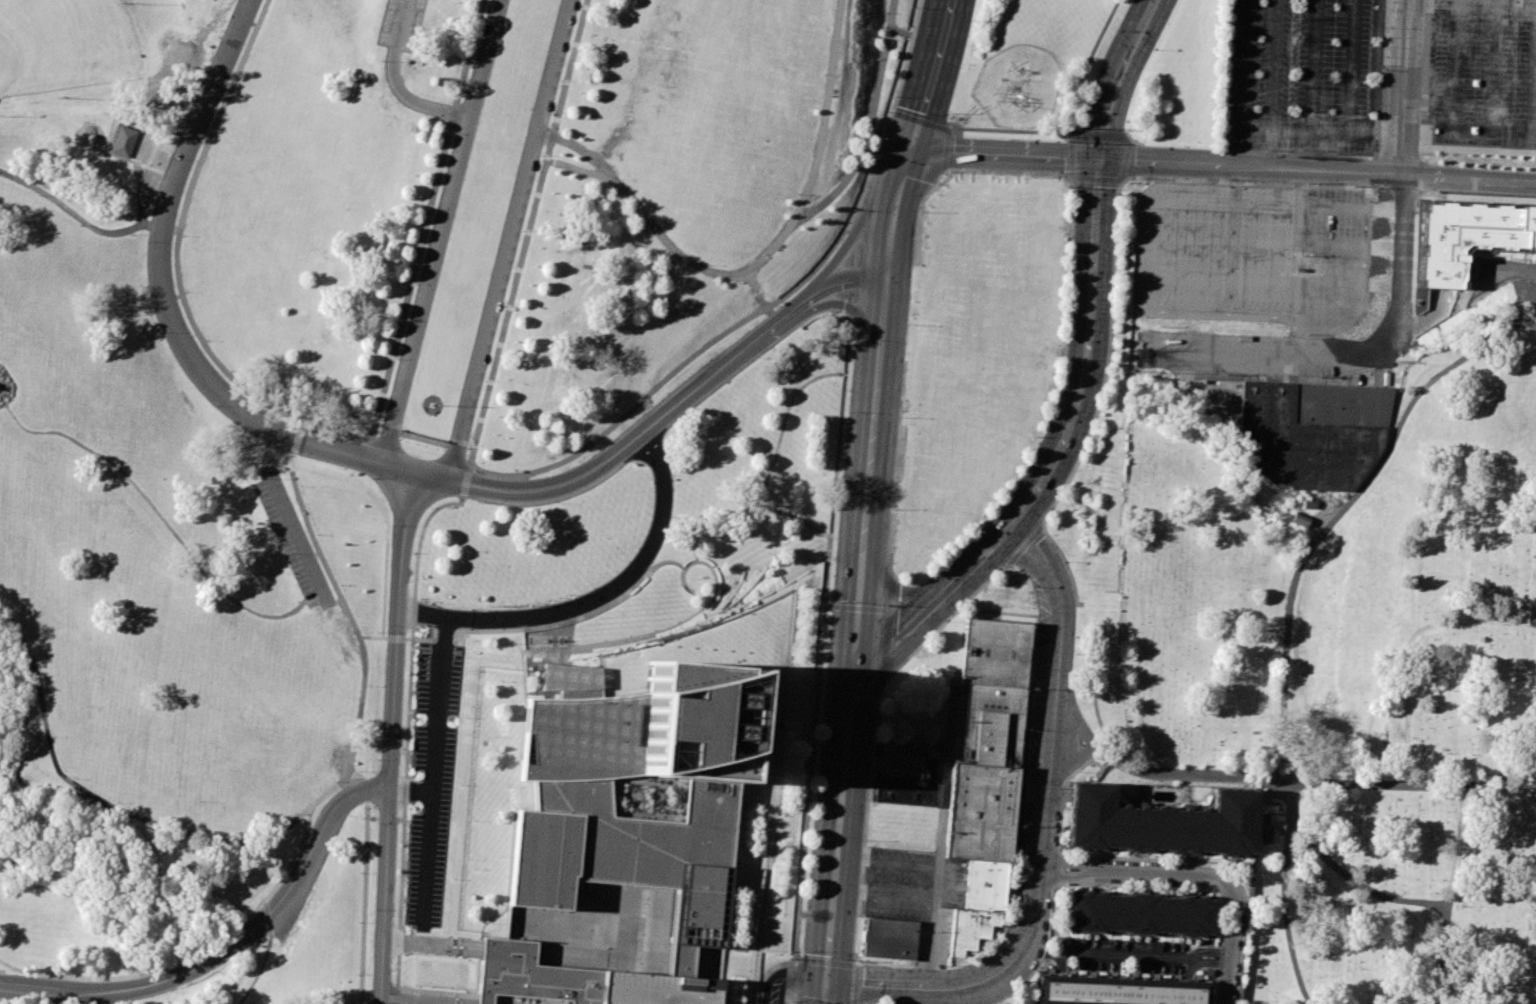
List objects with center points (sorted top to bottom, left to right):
street lamp: (579, 5)
street lamp: (913, 9)
street lamp: (972, 22)
parking lot: (401, 24)
street lamp: (1113, 31)
road: (902, 32)
park: (63, 45)
street lamp: (1152, 51)
street lamp: (472, 58)
street lamp: (822, 73)
road: (926, 75)
parking lot: (1300, 75)
street lamp: (201, 77)
road: (1115, 77)
parking lot: (1484, 80)
street lamp: (560, 81)
road: (395, 85)
street lamp: (889, 98)
street lamp: (1083, 113)
road: (219, 114)
street lamp: (950, 118)
road: (918, 122)
road: (1069, 122)
street lamp: (1124, 123)
road: (868, 124)
street lamp: (453, 134)
road: (1069, 136)
road: (1128, 136)
street lamp: (1134, 138)
street lamp: (1007, 139)
building: (124, 141)
road: (1136, 142)
road: (1474, 149)
traffic signals: (904, 150)
road: (944, 151)
street lamp: (541, 155)
street lamp: (873, 155)
road: (1000, 155)
road: (1324, 156)
traffic signals: (1098, 158)
road: (1397, 158)
street lamp: (166, 159)
road: (1124, 160)
road: (1316, 170)
road: (581, 171)
road: (1004, 172)
street lamp: (1056, 173)
road: (1375, 173)
street lamp: (945, 174)
road: (1419, 174)
road: (1075, 178)
street lamp: (621, 179)
street lamp: (1226, 180)
road: (1248, 183)
road: (1072, 184)
street lamp: (1308, 184)
street lamp: (1375, 188)
road: (1397, 189)
street lamp: (797, 193)
road: (1476, 193)
street lamp: (37, 195)
street lamp: (1116, 195)
street lamp: (1073, 197)
street lamp: (851, 207)
street lamp: (434, 208)
park: (520, 209)
street lamp: (918, 211)
road: (918, 213)
road: (427, 218)
street lamp: (79, 225)
road: (531, 227)
street lamp: (522, 230)
road: (444, 232)
street lamp: (131, 234)
road: (850, 234)
street lamp: (183, 235)
building: (1466, 238)
road: (507, 239)
road: (165, 241)
street lamp: (145, 243)
parking lot: (1251, 254)
road: (851, 256)
street lamp: (708, 264)
road: (759, 265)
street lamp: (1069, 270)
street lamp: (1113, 273)
road: (849, 277)
road: (751, 280)
road: (1391, 282)
street lamp: (415, 283)
street lamp: (186, 292)
road: (848, 297)
road: (1090, 299)
street lamp: (502, 306)
road: (763, 308)
road: (769, 312)
street lamp: (825, 312)
road: (847, 318)
street lamp: (907, 326)
street lamp: (159, 333)
street lamp: (207, 339)
street lamp: (851, 339)
road: (878, 344)
street lamp: (1065, 346)
street lamp: (1109, 351)
street lamp: (396, 357)
street lamp: (757, 359)
road: (1107, 359)
street lamp: (232, 371)
street lamp: (484, 381)
road: (16, 387)
flagpole: (433, 405)
street lamp: (210, 408)
street lamp: (287, 408)
road: (676, 408)
street lamp: (693, 411)
street lamp: (845, 412)
street lamp: (899, 417)
street lamp: (1047, 420)
street lamp: (380, 423)
road: (338, 427)
road: (782, 428)
building: (1311, 431)
street lamp: (1091, 439)
street lamp: (468, 444)
road: (341, 450)
street lamp: (283, 457)
street lamp: (629, 463)
street lamp: (644, 466)
road: (401, 468)
road: (894, 468)
road: (432, 475)
street lamp: (368, 479)
street lamp: (1018, 481)
road: (469, 482)
street lamp: (300, 485)
road: (1042, 485)
railway: (882, 497)
railway: (847, 498)
street lamp: (477, 503)
street lamp: (557, 504)
street lamp: (837, 506)
street lamp: (1051, 508)
road: (749, 510)
street lamp: (891, 510)
road: (287, 513)
road: (160, 516)
street lamp: (389, 527)
street lamp: (973, 527)
street lamp: (317, 534)
road: (421, 535)
parking lot: (296, 543)
road: (1025, 544)
street lamp: (283, 555)
road: (988, 557)
street lamp: (1063, 560)
road: (891, 576)
street lamp: (929, 576)
street lamp: (996, 576)
park: (163, 584)
street lamp: (340, 585)
road: (889, 586)
street lamp: (1030, 586)
street lamp: (592, 588)
road: (897, 592)
flagpole: (569, 594)
flagpole: (559, 597)
flagpole: (548, 600)
street lamp: (831, 601)
flagpole: (537, 602)
flagpole: (526, 603)
flagpole: (515, 604)
road: (887, 604)
street lamp: (1, 605)
flagpole: (491, 605)
flagpole: (504, 605)
road: (852, 608)
road: (1287, 608)
street lamp: (472, 609)
road: (886, 613)
road: (857, 615)
road: (423, 616)
road: (515, 618)
road: (354, 621)
street lamp: (385, 628)
road: (513, 629)
road: (661, 630)
street lamp: (936, 631)
street lamp: (362, 633)
street lamp: (375, 634)
road: (571, 634)
road: (375, 637)
road: (555, 637)
road: (906, 637)
road: (398, 638)
road: (421, 639)
street lamp: (1074, 639)
road: (442, 640)
road: (1057, 640)
road: (456, 641)
street lamp: (26, 642)
road: (1410, 645)
road: (883, 647)
building: (991, 652)
road: (818, 662)
park: (1357, 672)
street lamp: (892, 674)
road: (881, 681)
road: (881, 684)
street lamp: (368, 685)
street lamp: (44, 689)
traffic signals: (852, 692)
street lamp: (82, 710)
street lamp: (467, 717)
street lamp: (361, 725)
street lamp: (380, 725)
street lamp: (818, 726)
street lamp: (1026, 731)
street lamp: (871, 735)
road: (392, 737)
street lamp: (51, 738)
street lamp: (412, 751)
road: (1069, 762)
street lamp: (1080, 771)
building: (985, 775)
road: (1242, 775)
road: (1500, 775)
parking lot: (432, 779)
street lamp: (74, 780)
street lamp: (332, 781)
street lamp: (461, 784)
road: (661, 786)
building: (910, 787)
road: (365, 789)
street lamp: (196, 802)
street lamp: (116, 804)
street lamp: (408, 806)
street lamp: (294, 814)
street lamp: (348, 818)
building: (1160, 822)
street lamp: (376, 824)
street lamp: (178, 825)
street lamp: (408, 825)
building: (1271, 827)
street lamp: (1019, 828)
street lamp: (809, 835)
street lamp: (242, 836)
street lamp: (863, 838)
road: (941, 840)
building: (623, 841)
road: (837, 847)
road: (429, 853)
road: (293, 855)
road: (850, 859)
road: (902, 864)
road: (1036, 869)
street lamp: (359, 872)
road: (1136, 875)
street lamp: (406, 877)
street lamp: (453, 880)
road: (365, 883)
parking lot: (900, 883)
building: (985, 884)
road: (1360, 884)
road: (885, 892)
road: (1452, 894)
street lamp: (308, 902)
street lamp: (371, 909)
road: (860, 912)
building: (1142, 914)
road: (268, 915)
street lamp: (402, 919)
street lamp: (357, 922)
street lamp: (1007, 923)
building: (970, 929)
building: (891, 939)
street lamp: (254, 946)
road: (1231, 946)
street lamp: (801, 948)
street lamp: (402, 953)
street lamp: (434, 954)
road: (1127, 954)
parking lot: (1120, 956)
road: (1190, 956)
street lamp: (465, 957)
street lamp: (860, 959)
road: (849, 964)
street lamp: (940, 965)
road: (160, 969)
road: (767, 970)
road: (256, 973)
street lamp: (355, 974)
traffic signals: (825, 981)
street lamp: (400, 985)
road: (918, 985)
street lamp: (428, 988)
road: (74, 990)
building: (1120, 990)
street lamp: (462, 991)
street lamp: (172, 993)
road: (793, 997)
road: (786, 999)
road: (815, 1000)
road: (409, 1002)
road: (395, 1003)

